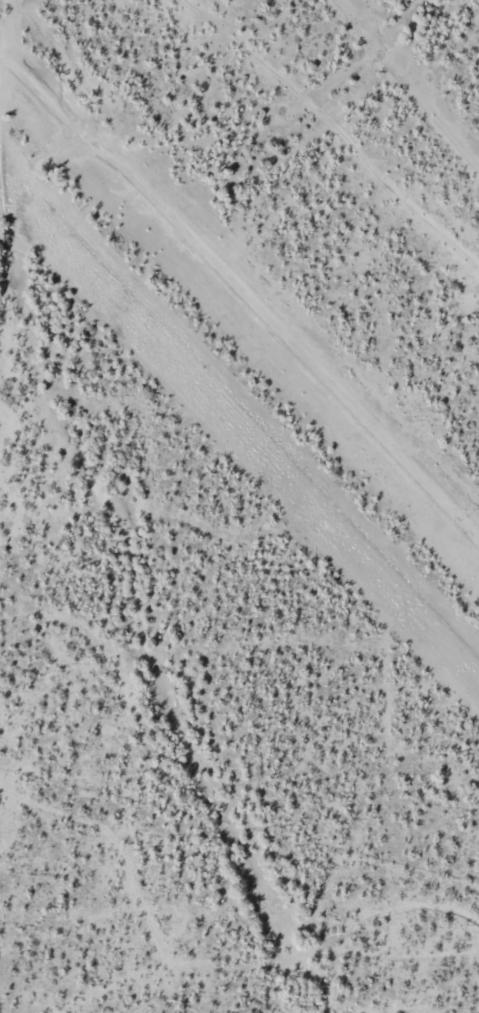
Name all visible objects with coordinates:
road: (22, 91)
road: (247, 248)

